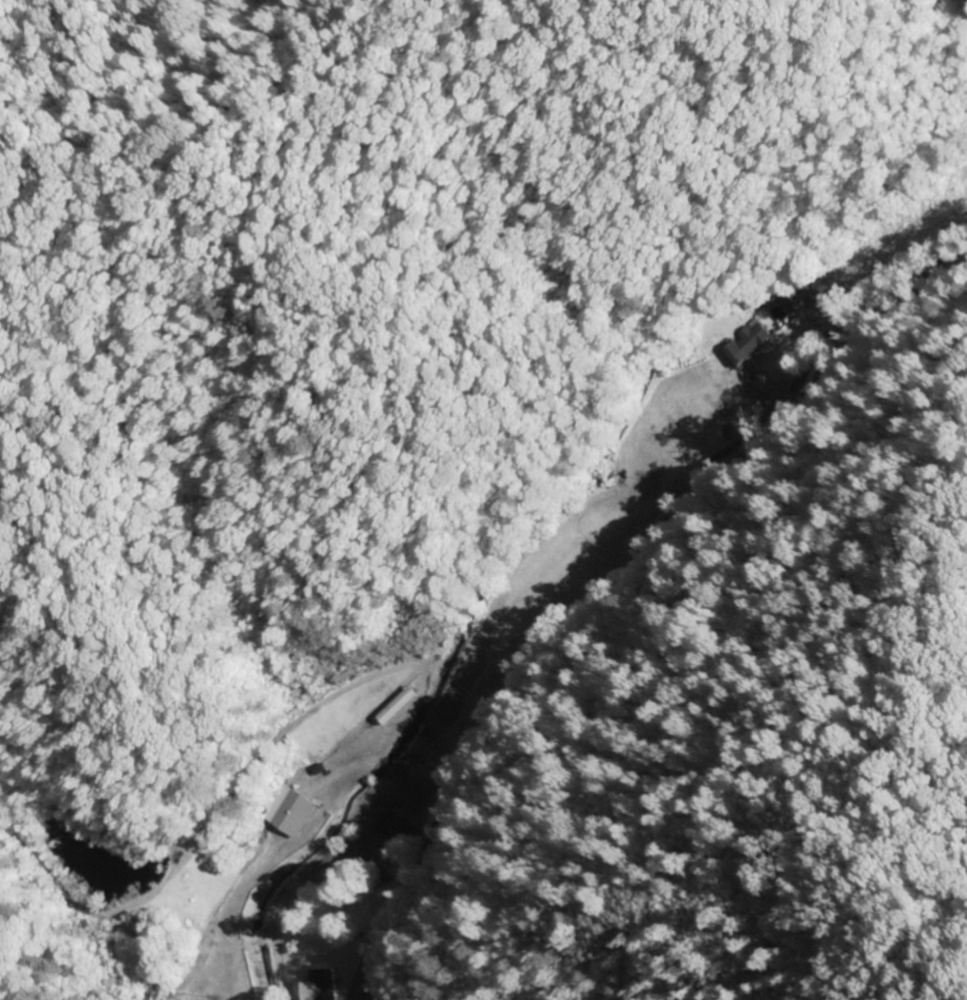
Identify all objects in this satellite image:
building: (821, 286)
building: (745, 343)
road: (596, 584)
building: (396, 705)
building: (286, 810)
building: (384, 826)
building: (361, 997)

